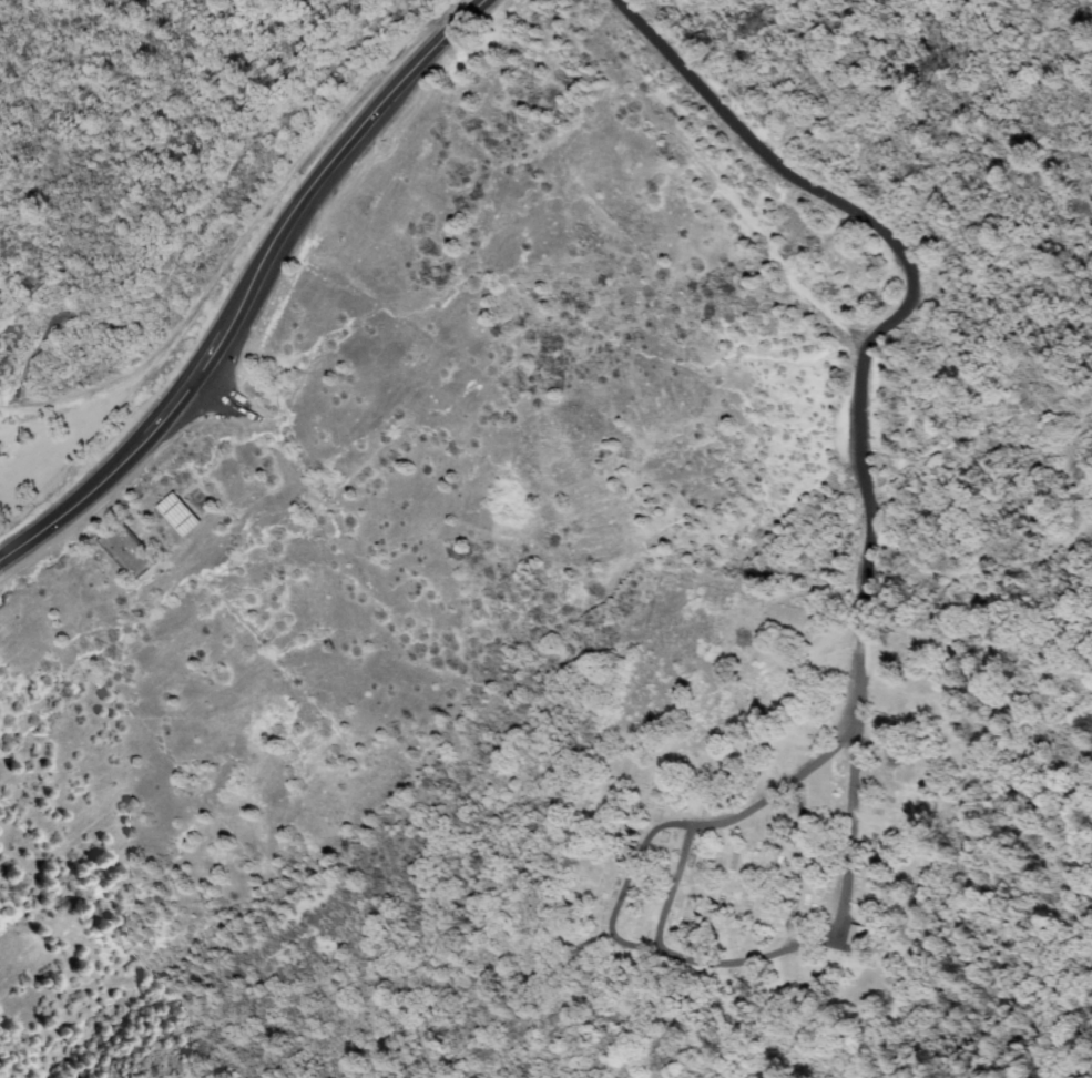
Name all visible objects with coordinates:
road: (248, 226)
road: (244, 283)
road: (908, 295)
building: (182, 516)
building: (130, 552)
park: (779, 846)
building: (858, 935)
road: (649, 946)

